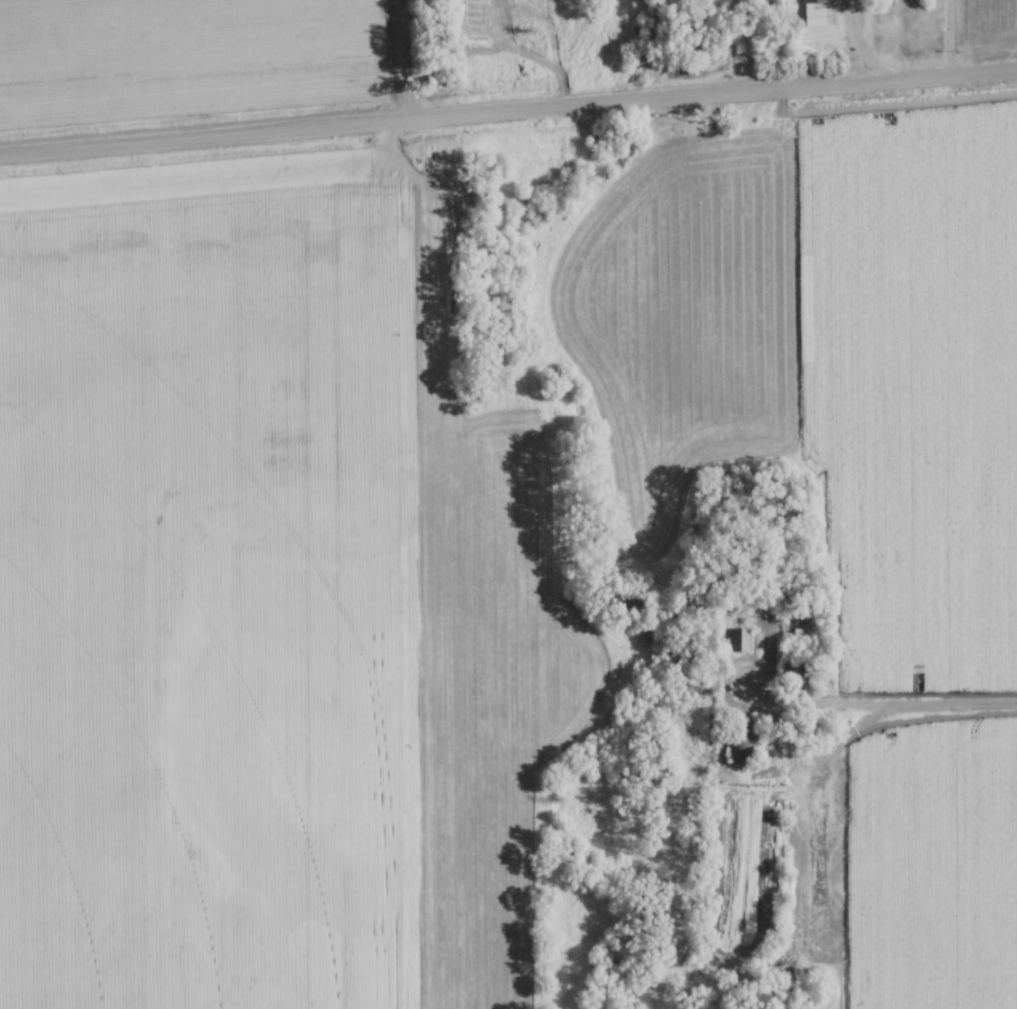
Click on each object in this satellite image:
building: (811, 1)
building: (812, 17)
road: (948, 37)
road: (860, 43)
crop: (188, 57)
road: (508, 112)
crop: (825, 359)
crop: (254, 605)
building: (734, 638)
road: (881, 707)
building: (739, 742)
crop: (932, 866)

